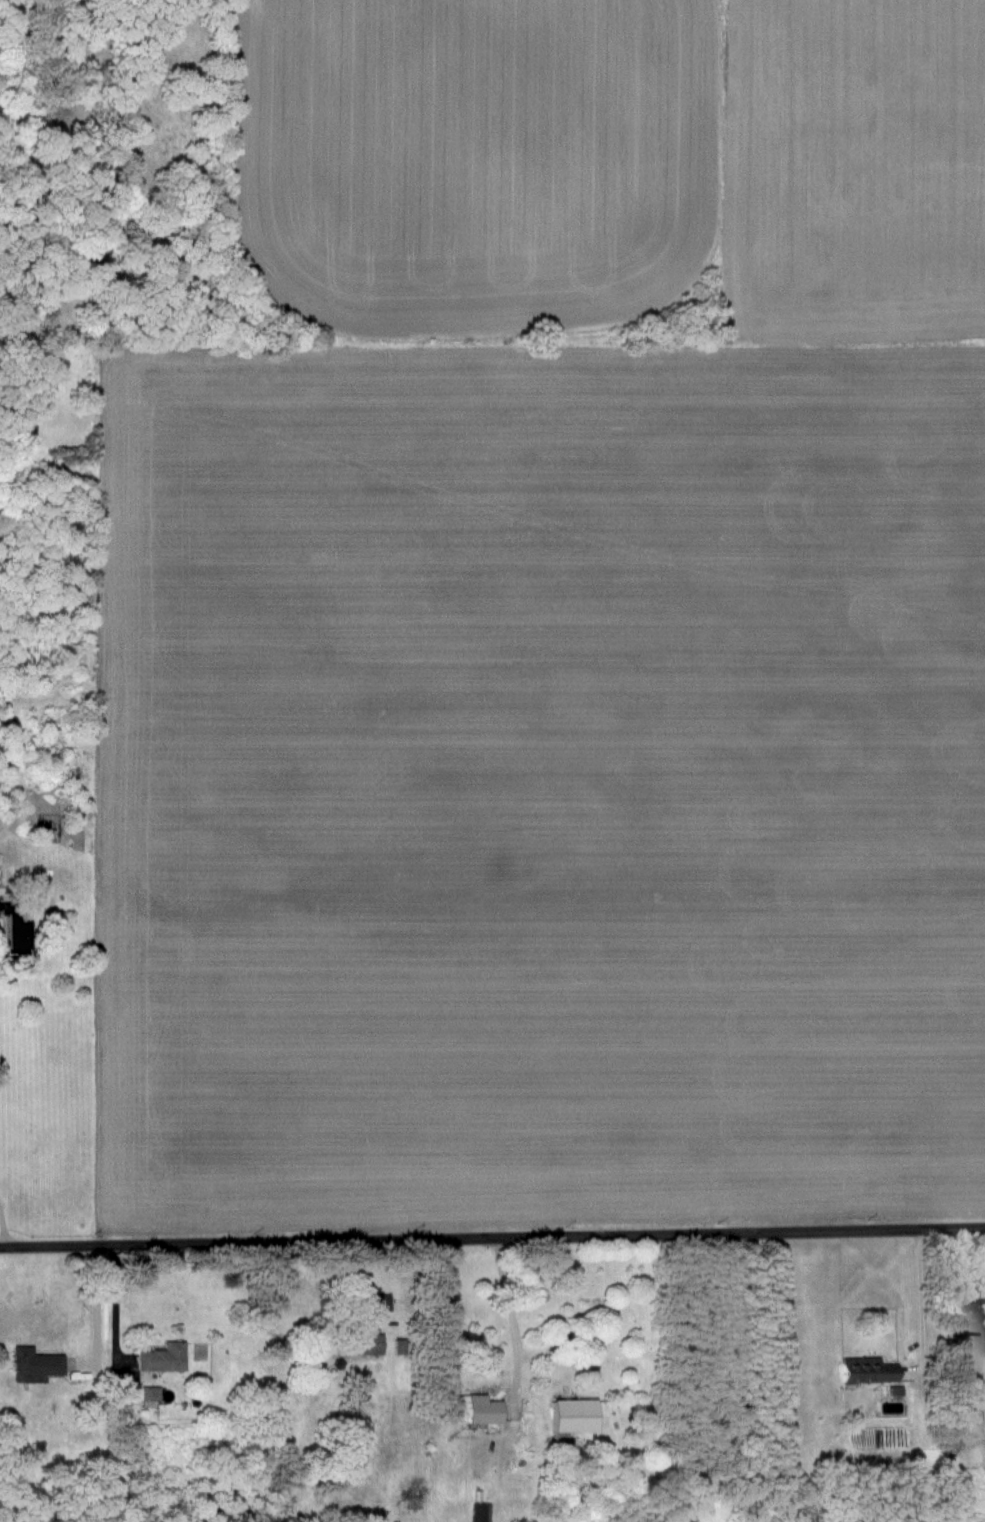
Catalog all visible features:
building: (13, 936)
road: (5, 1226)
road: (492, 1232)
road: (927, 1309)
road: (516, 1320)
building: (364, 1343)
building: (398, 1347)
building: (161, 1358)
building: (34, 1363)
building: (866, 1371)
building: (966, 1373)
building: (147, 1397)
building: (481, 1410)
road: (72, 1411)
building: (574, 1416)
building: (479, 1512)

